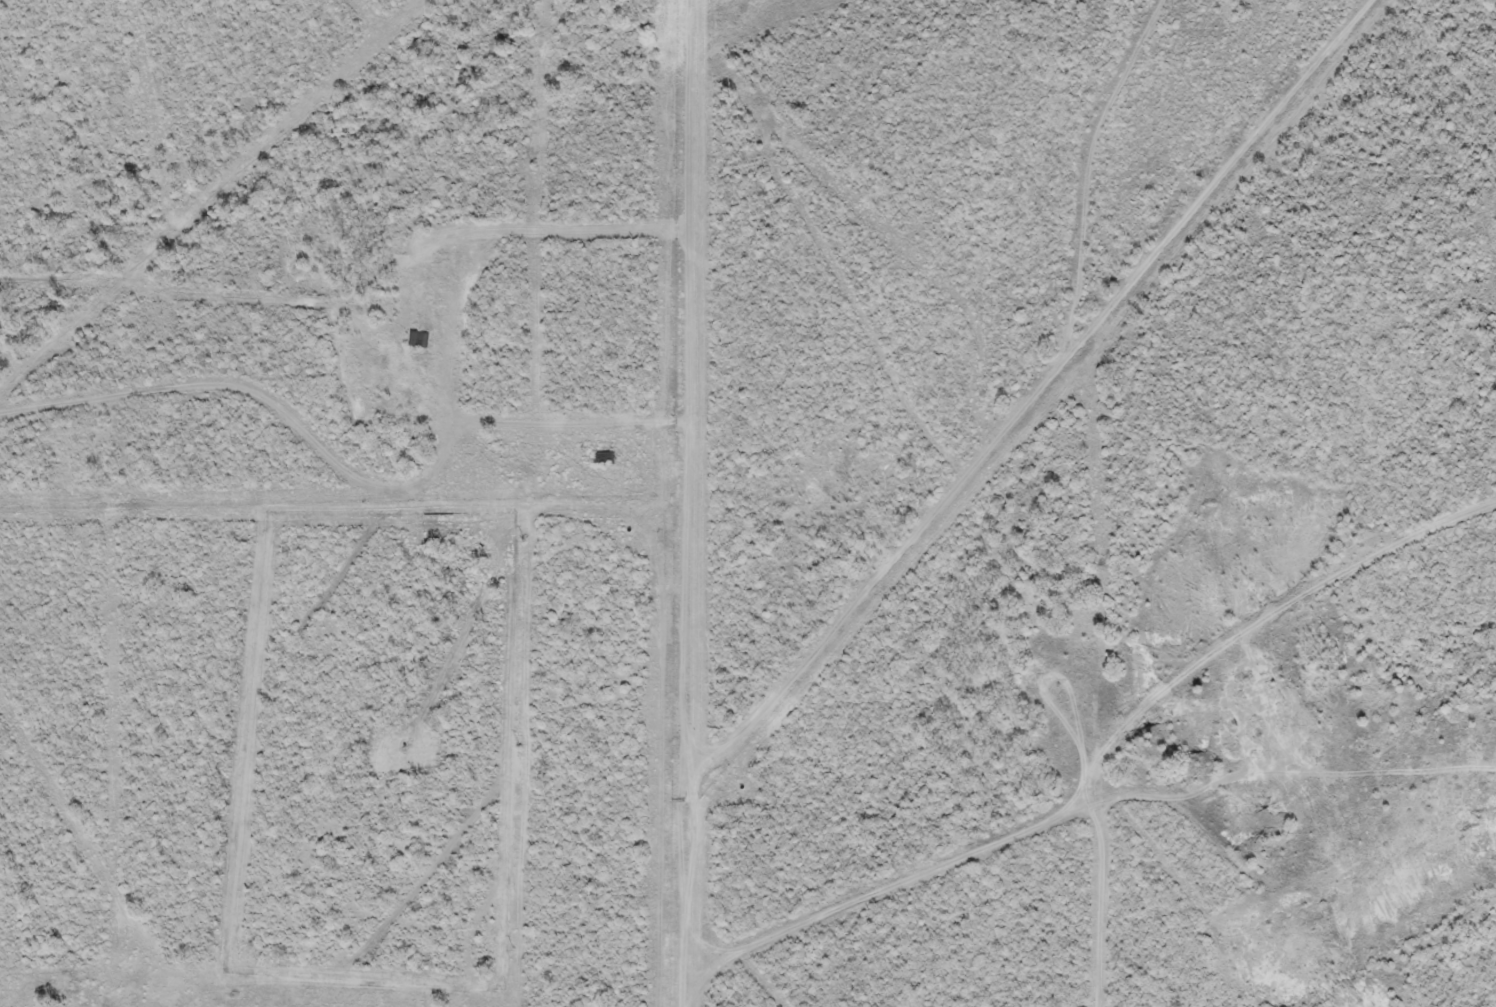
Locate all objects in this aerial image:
building: (419, 325)

